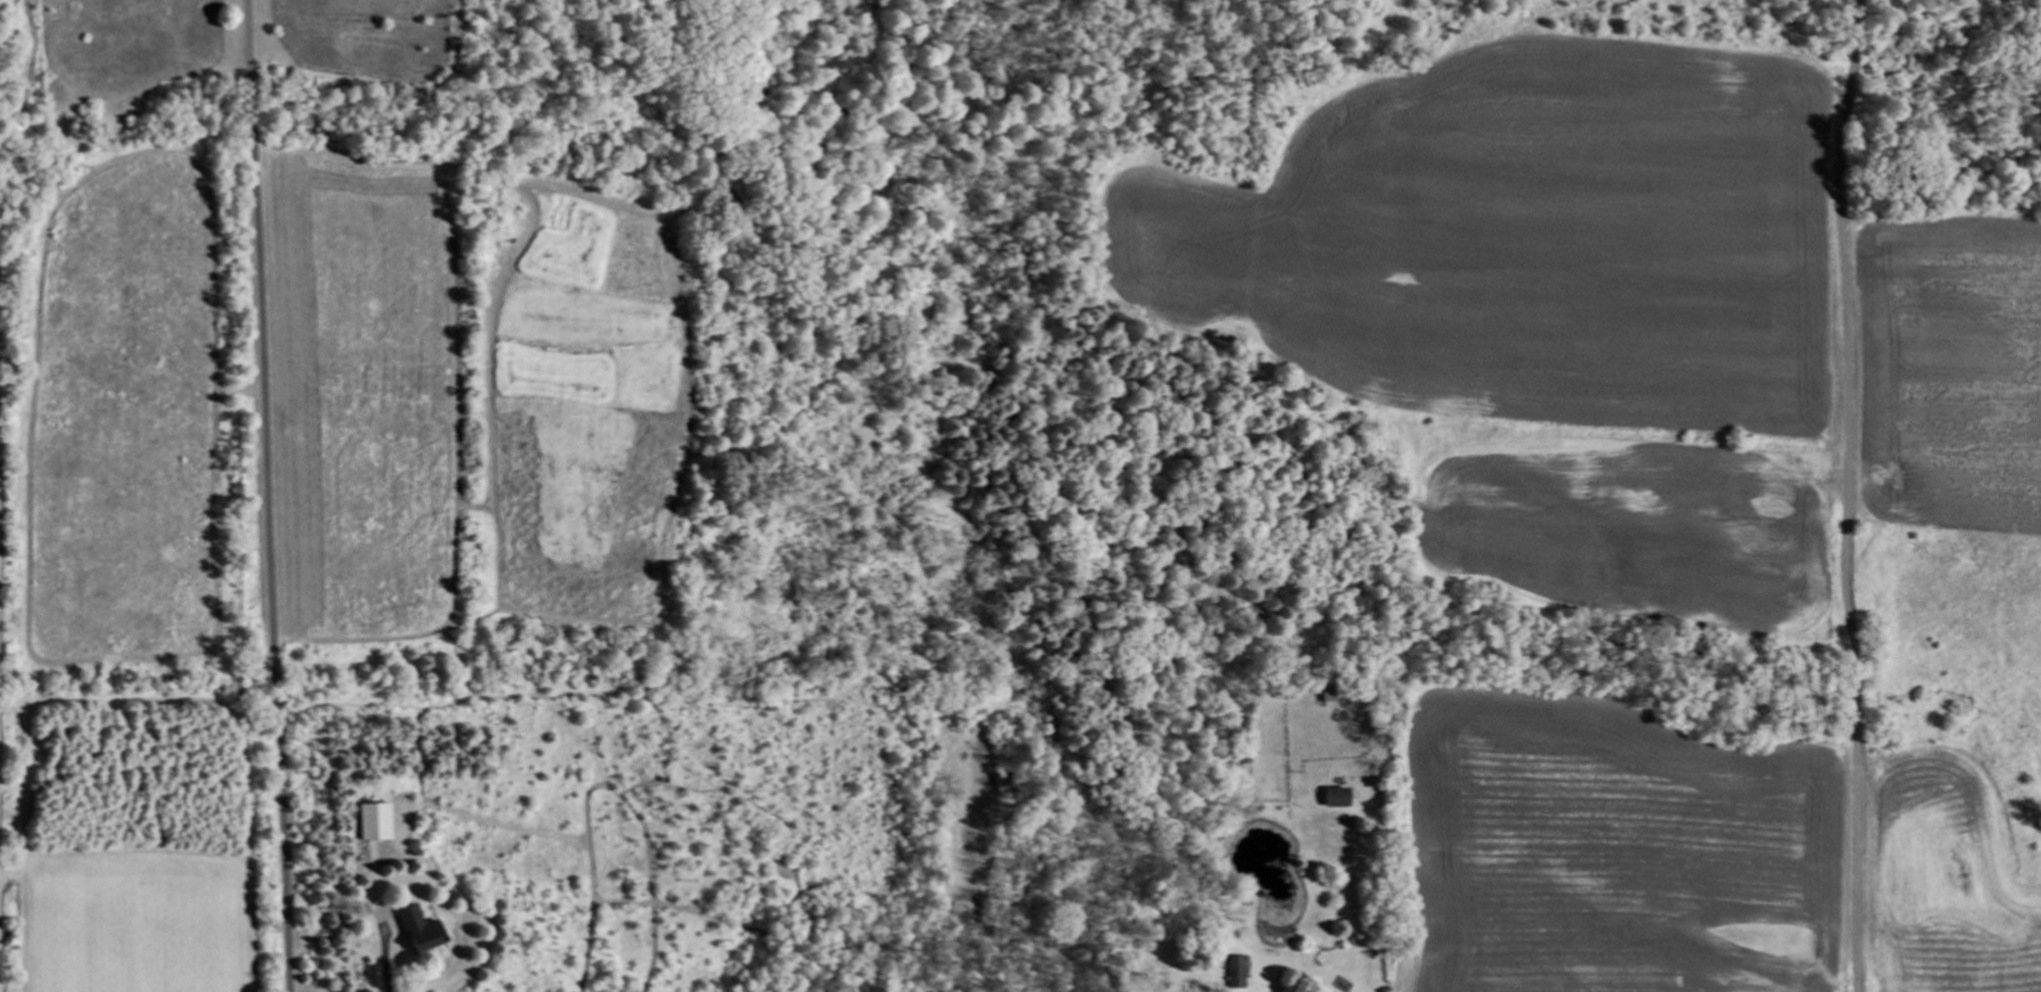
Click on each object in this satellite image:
road: (1848, 495)
road: (265, 496)
building: (1333, 796)
building: (373, 822)
building: (416, 929)
road: (381, 949)
building: (1236, 971)

